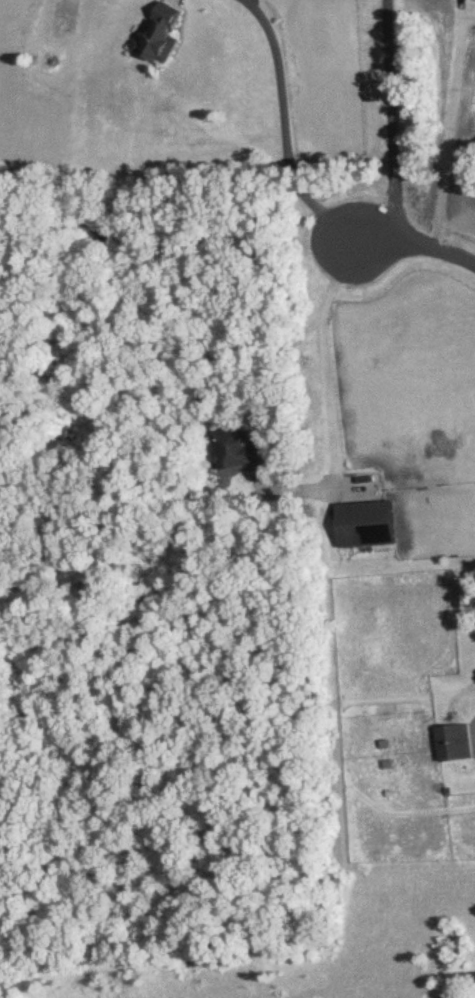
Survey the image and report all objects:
building: (158, 32)
road: (391, 120)
road: (449, 128)
road: (284, 129)
road: (417, 245)
building: (234, 447)
road: (270, 451)
building: (363, 522)
building: (453, 741)

